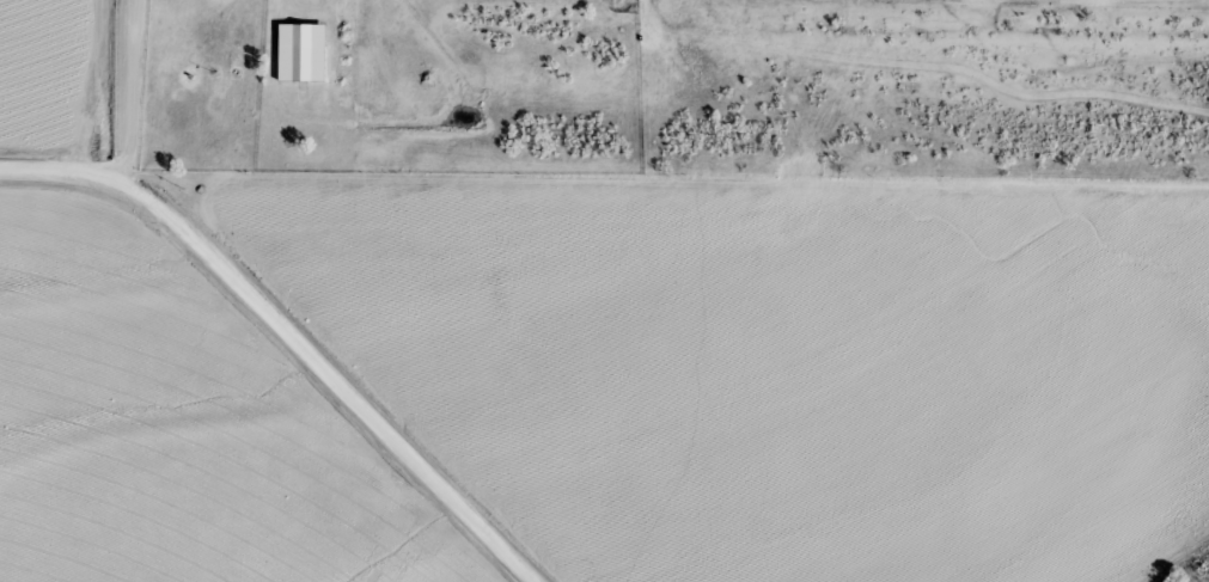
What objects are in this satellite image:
building: (298, 53)
road: (135, 90)
road: (292, 330)

